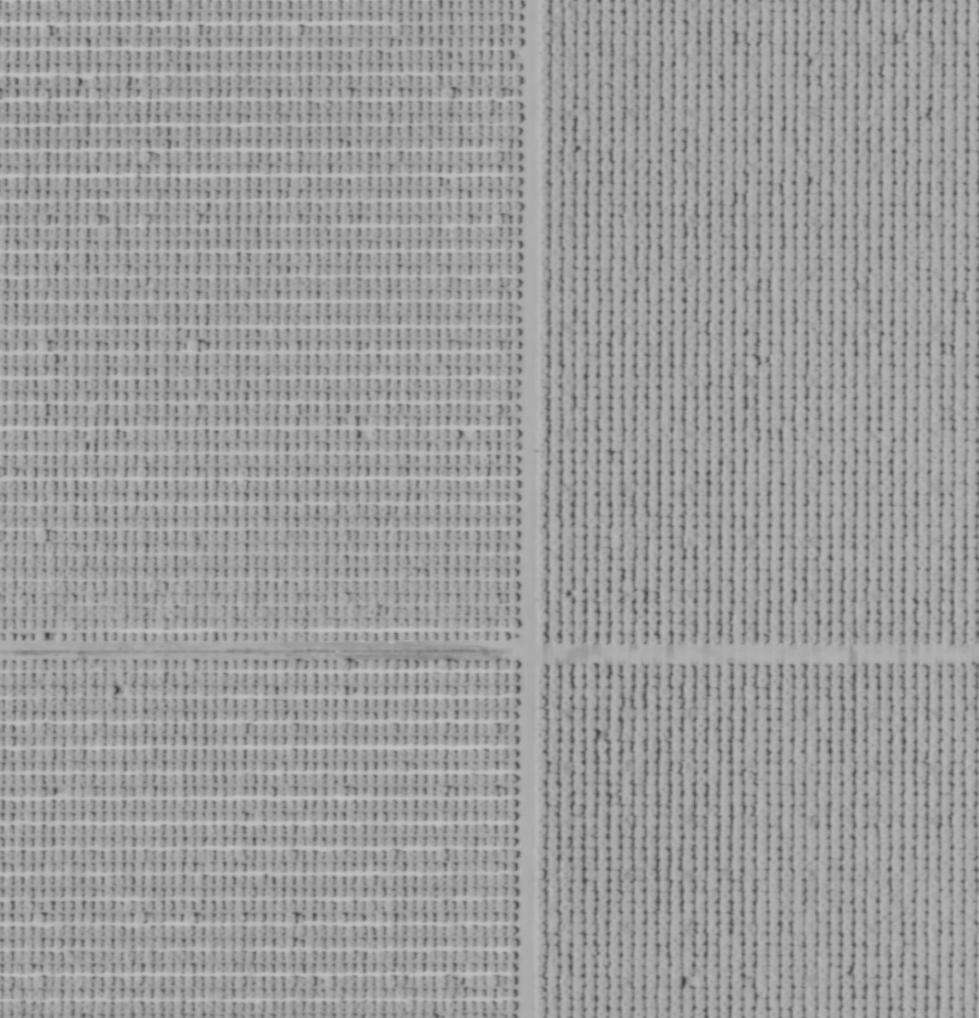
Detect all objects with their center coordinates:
road: (519, 508)
road: (489, 650)

